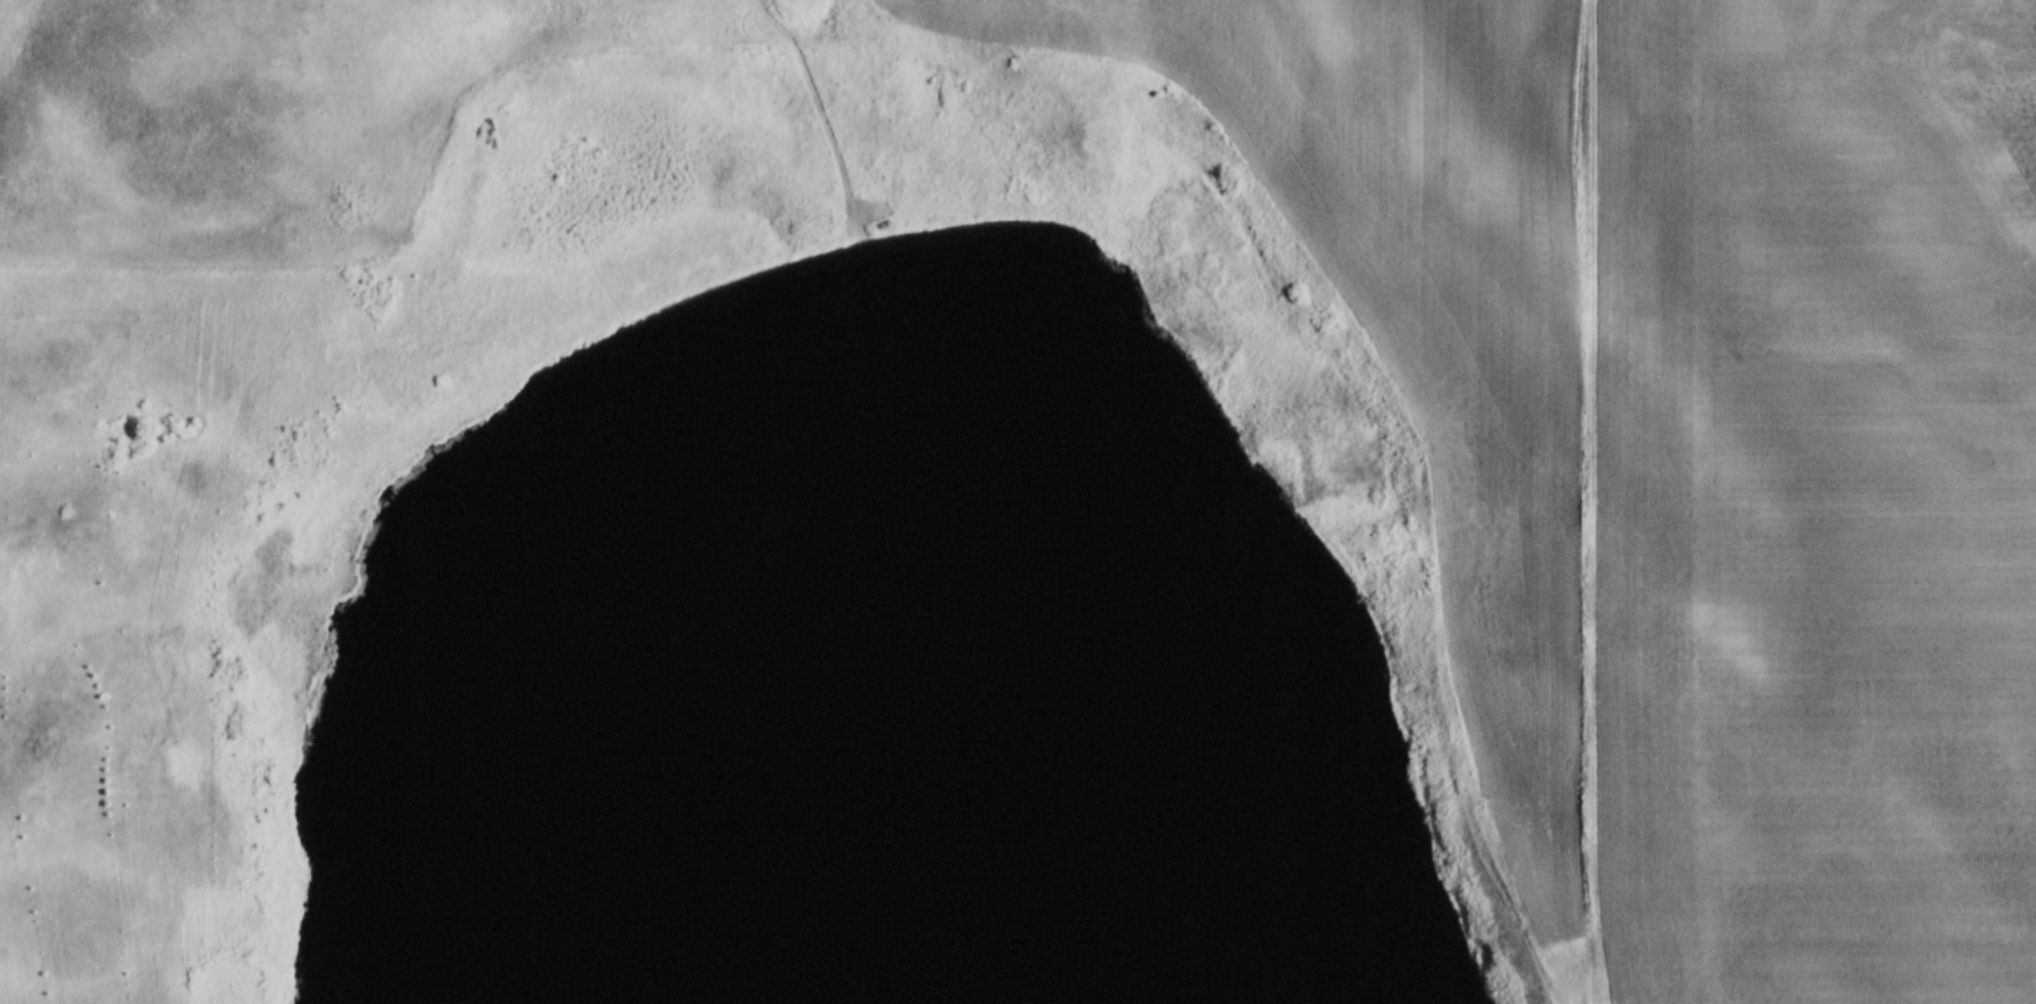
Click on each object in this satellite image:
road: (1567, 502)

